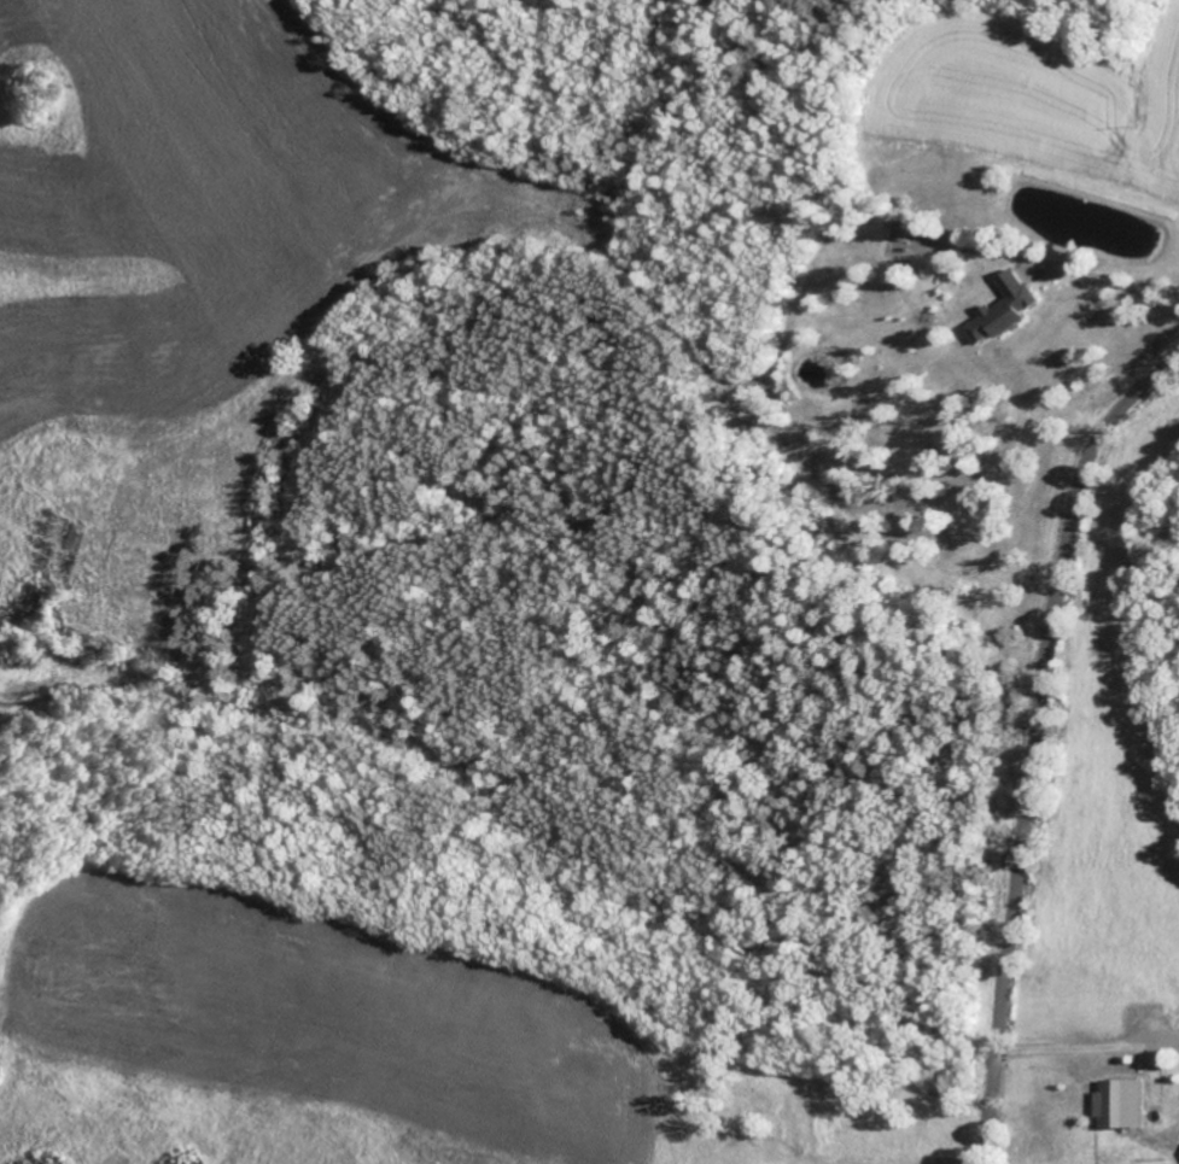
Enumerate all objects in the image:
building: (901, 232)
road: (1115, 283)
building: (1005, 310)
road: (1034, 741)
building: (1120, 1104)

